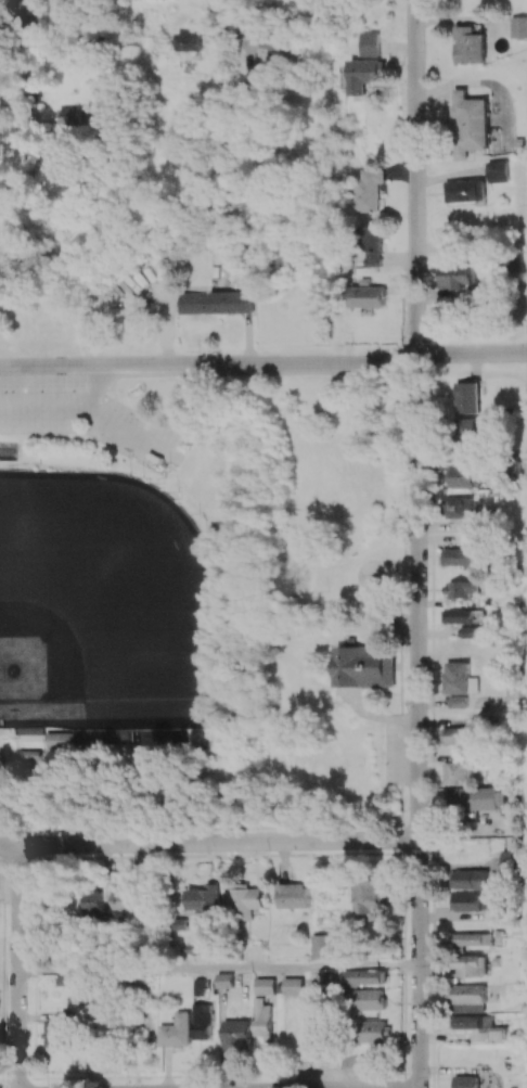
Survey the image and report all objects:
road: (8, 10)
building: (518, 26)
road: (243, 38)
building: (188, 41)
building: (273, 41)
building: (371, 43)
building: (470, 43)
road: (26, 71)
building: (365, 74)
building: (66, 116)
building: (470, 124)
building: (499, 170)
road: (416, 178)
building: (370, 190)
building: (465, 190)
building: (373, 245)
building: (459, 277)
building: (368, 296)
building: (230, 302)
building: (191, 303)
road: (263, 361)
building: (470, 397)
parking lot: (50, 401)
building: (471, 432)
parking lot: (137, 435)
building: (465, 475)
building: (460, 507)
building: (461, 558)
building: (460, 588)
park: (203, 601)
park: (101, 604)
building: (459, 615)
building: (466, 631)
building: (365, 666)
building: (460, 678)
building: (459, 701)
road: (417, 722)
building: (457, 734)
building: (59, 739)
road: (401, 740)
building: (459, 772)
building: (477, 797)
road: (209, 842)
building: (513, 861)
building: (470, 879)
building: (292, 895)
building: (370, 896)
building: (203, 898)
building: (118, 899)
building: (245, 900)
building: (470, 900)
building: (89, 901)
building: (502, 911)
building: (473, 939)
building: (322, 946)
building: (471, 964)
road: (18, 967)
road: (219, 968)
building: (365, 977)
building: (226, 980)
building: (293, 985)
building: (266, 986)
building: (470, 998)
building: (370, 999)
building: (262, 1017)
building: (203, 1021)
building: (483, 1027)
building: (177, 1031)
building: (374, 1031)
building: (60, 1032)
building: (313, 1032)
building: (237, 1034)
building: (466, 1081)

